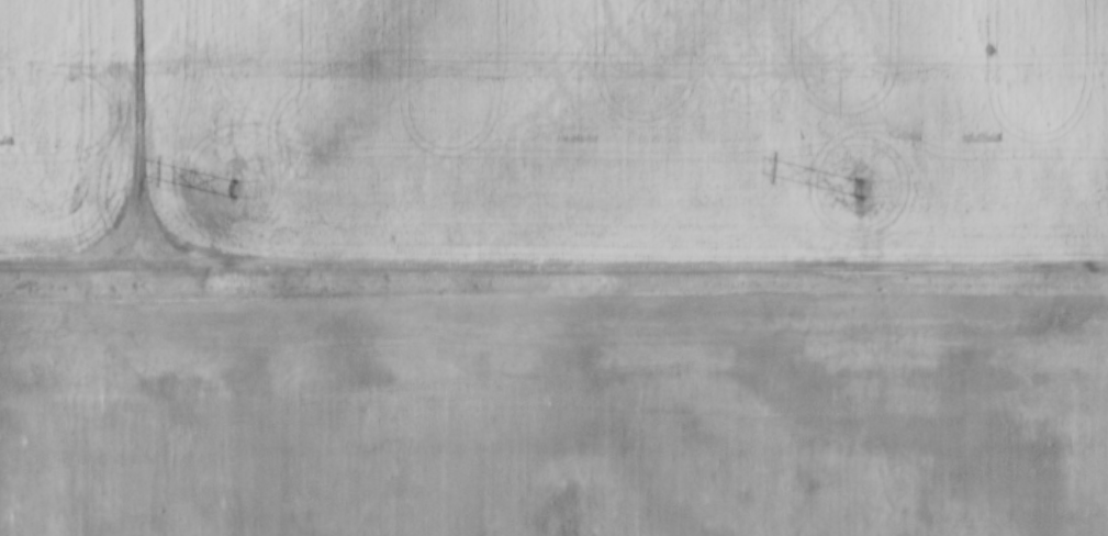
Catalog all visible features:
road: (136, 134)
power tower: (220, 183)
power tower: (859, 186)
road: (552, 268)

